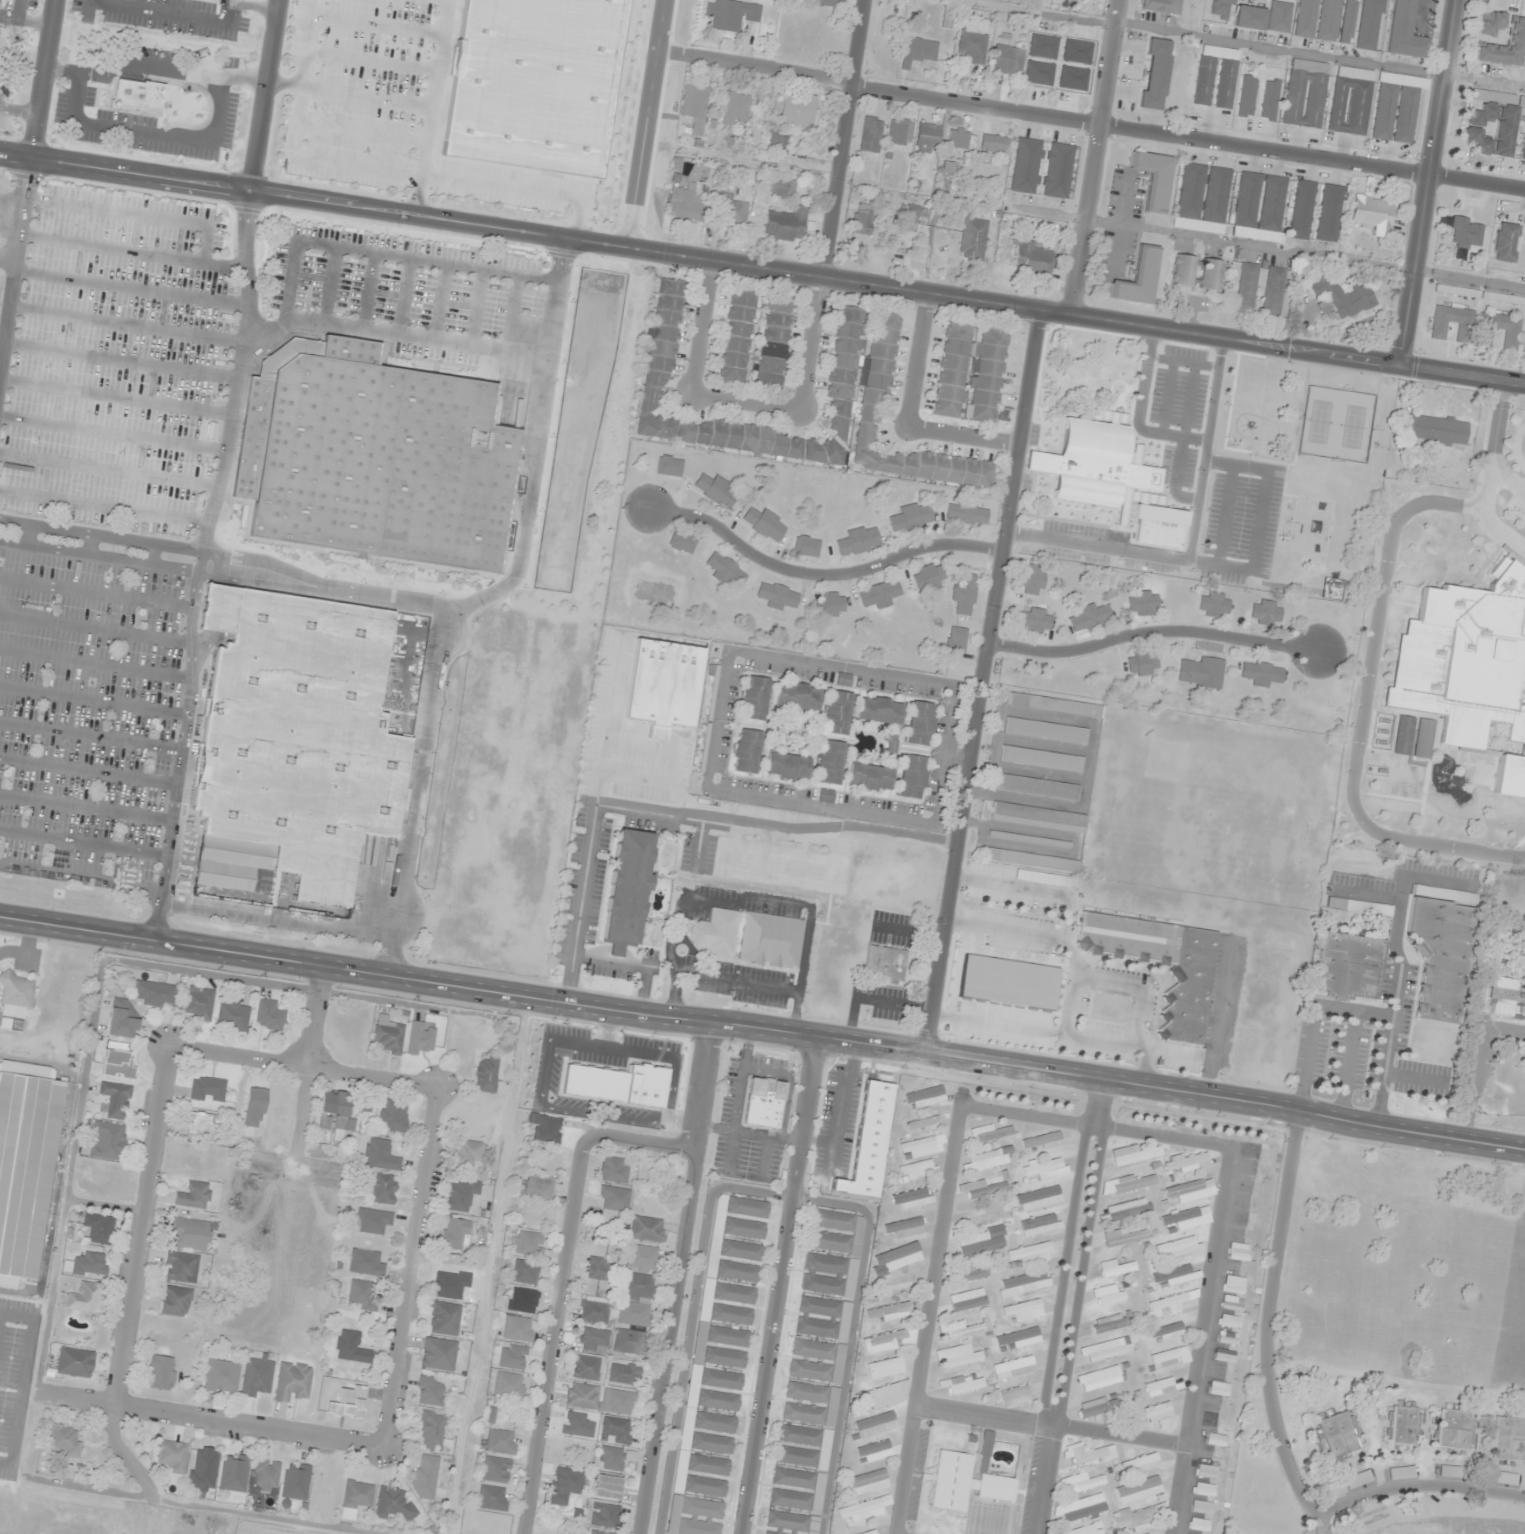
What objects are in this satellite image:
road: (227, 1)
building: (827, 3)
building: (1162, 6)
road: (5, 8)
building: (1222, 8)
road: (87, 9)
building: (730, 14)
road: (0, 16)
building: (949, 17)
building: (1280, 17)
road: (190, 18)
building: (1250, 18)
building: (1306, 18)
building: (1328, 20)
road: (26, 21)
building: (1491, 23)
road: (376, 24)
building: (1403, 31)
building: (1044, 46)
building: (974, 48)
building: (1506, 48)
building: (919, 51)
building: (1077, 51)
building: (1008, 56)
road: (370, 60)
building: (1039, 73)
building: (1155, 74)
building: (1216, 77)
road: (44, 78)
building: (1073, 79)
building: (532, 84)
building: (1305, 94)
road: (262, 95)
road: (346, 95)
building: (1247, 96)
building: (1270, 100)
building: (696, 101)
building: (1350, 106)
road: (429, 107)
building: (1396, 107)
building: (734, 109)
building: (797, 110)
road: (19, 111)
road: (1090, 118)
road: (645, 123)
building: (1474, 130)
building: (900, 132)
road: (359, 133)
building: (871, 135)
building: (928, 138)
building: (962, 139)
road: (292, 143)
building: (994, 144)
building: (782, 145)
building: (1523, 147)
road: (1098, 157)
building: (1026, 166)
building: (949, 169)
building: (1058, 171)
building: (1154, 179)
road: (1428, 182)
building: (778, 186)
road: (520, 188)
building: (1204, 199)
building: (1261, 203)
road: (836, 205)
building: (686, 206)
building: (1303, 210)
building: (731, 212)
building: (1330, 213)
road: (132, 214)
building: (1374, 214)
building: (911, 220)
building: (862, 224)
building: (786, 225)
building: (1465, 232)
building: (973, 240)
building: (1504, 243)
road: (131, 252)
road: (384, 254)
road: (15, 255)
building: (1034, 259)
road: (7, 261)
road: (762, 267)
building: (1183, 270)
building: (1139, 279)
road: (328, 285)
road: (130, 289)
building: (1247, 289)
road: (368, 291)
building: (1457, 292)
building: (1274, 293)
road: (404, 296)
building: (1340, 297)
building: (1504, 299)
road: (440, 302)
road: (476, 307)
road: (513, 313)
road: (125, 325)
road: (702, 325)
building: (1464, 331)
road: (393, 333)
building: (737, 337)
building: (1511, 338)
building: (775, 342)
building: (661, 350)
building: (1524, 353)
road: (917, 359)
road: (120, 360)
building: (971, 374)
road: (116, 396)
road: (747, 400)
building: (880, 405)
building: (1437, 430)
road: (113, 434)
road: (962, 438)
road: (534, 444)
building: (372, 456)
building: (1091, 464)
building: (669, 466)
road: (109, 470)
building: (716, 489)
road: (103, 507)
building: (967, 514)
building: (911, 517)
building: (763, 524)
road: (101, 535)
building: (858, 541)
building: (682, 542)
building: (806, 547)
road: (99, 556)
road: (199, 565)
building: (724, 570)
road: (818, 575)
building: (928, 576)
building: (1032, 579)
road: (323, 588)
road: (96, 594)
building: (880, 595)
building: (964, 595)
building: (777, 597)
building: (1143, 603)
building: (829, 604)
building: (1214, 604)
building: (1266, 613)
building: (1089, 618)
building: (1036, 621)
road: (94, 628)
road: (1155, 631)
building: (956, 640)
building: (1466, 660)
road: (95, 663)
building: (1142, 663)
building: (1200, 673)
building: (1261, 674)
building: (844, 680)
road: (983, 682)
building: (664, 686)
building: (797, 697)
building: (755, 698)
road: (93, 701)
building: (1055, 706)
building: (880, 711)
building: (837, 713)
building: (920, 723)
building: (1046, 731)
building: (1403, 735)
road: (91, 736)
building: (1423, 738)
building: (293, 741)
building: (747, 751)
building: (1042, 759)
building: (830, 762)
building: (787, 767)
road: (88, 770)
building: (912, 776)
building: (869, 777)
building: (1510, 777)
building: (1037, 788)
road: (417, 791)
building: (826, 796)
road: (85, 807)
building: (1039, 818)
building: (1029, 840)
road: (83, 843)
building: (1032, 861)
road: (80, 876)
building: (1046, 879)
building: (627, 890)
building: (717, 935)
building: (770, 940)
building: (1441, 950)
building: (885, 962)
building: (1349, 967)
building: (154, 994)
building: (1508, 998)
building: (15, 1001)
building: (1186, 1002)
building: (199, 1004)
building: (233, 1016)
building: (269, 1016)
road: (313, 1016)
building: (121, 1020)
road: (762, 1031)
building: (388, 1035)
building: (118, 1062)
road: (300, 1063)
building: (486, 1075)
building: (207, 1089)
building: (924, 1097)
building: (115, 1100)
building: (764, 1103)
building: (334, 1113)
building: (393, 1116)
building: (201, 1125)
building: (924, 1125)
building: (547, 1129)
building: (992, 1133)
building: (108, 1141)
building: (923, 1147)
building: (467, 1154)
building: (379, 1155)
building: (1134, 1155)
building: (26, 1159)
building: (986, 1160)
building: (1186, 1162)
road: (577, 1164)
building: (1043, 1168)
building: (917, 1169)
building: (614, 1170)
building: (1129, 1184)
building: (536, 1188)
building: (382, 1189)
building: (982, 1189)
building: (1191, 1190)
road: (761, 1192)
building: (193, 1195)
building: (460, 1195)
building: (912, 1198)
building: (614, 1199)
building: (1039, 1199)
road: (834, 1203)
building: (747, 1208)
building: (1129, 1210)
building: (984, 1218)
building: (1187, 1218)
building: (373, 1221)
road: (136, 1223)
building: (1040, 1225)
road: (1226, 1226)
building: (906, 1228)
building: (98, 1229)
building: (647, 1229)
building: (744, 1229)
building: (836, 1232)
building: (188, 1234)
building: (454, 1234)
building: (1124, 1237)
building: (982, 1242)
building: (529, 1244)
building: (1179, 1248)
building: (740, 1250)
building: (1029, 1251)
building: (1239, 1252)
road: (944, 1257)
building: (641, 1258)
building: (898, 1258)
building: (365, 1263)
building: (90, 1264)
building: (180, 1267)
road: (411, 1267)
building: (1116, 1268)
building: (598, 1269)
building: (737, 1271)
building: (524, 1272)
building: (971, 1274)
building: (829, 1275)
building: (1175, 1276)
road: (680, 1279)
building: (898, 1284)
building: (1024, 1284)
building: (1234, 1284)
road: (780, 1287)
building: (734, 1294)
building: (360, 1296)
building: (1107, 1296)
building: (86, 1298)
building: (967, 1300)
building: (175, 1301)
building: (635, 1301)
building: (1175, 1303)
building: (1232, 1304)
road: (1072, 1308)
building: (1024, 1311)
building: (594, 1312)
building: (891, 1312)
building: (731, 1315)
building: (443, 1318)
building: (823, 1318)
building: (1229, 1321)
building: (1109, 1323)
road: (1266, 1326)
building: (518, 1329)
building: (964, 1330)
building: (1167, 1333)
building: (727, 1337)
building: (593, 1339)
building: (1019, 1339)
building: (1227, 1339)
building: (630, 1341)
building: (889, 1341)
building: (351, 1347)
building: (817, 1350)
building: (1104, 1350)
building: (438, 1354)
road: (687, 1355)
building: (1225, 1355)
building: (512, 1356)
building: (724, 1358)
building: (958, 1358)
building: (1170, 1358)
building: (75, 1363)
building: (586, 1368)
building: (885, 1368)
building: (1014, 1368)
building: (810, 1370)
building: (161, 1373)
building: (624, 1374)
road: (849, 1375)
building: (220, 1377)
building: (256, 1377)
building: (721, 1379)
building: (1099, 1379)
building: (292, 1382)
building: (509, 1385)
building: (1159, 1387)
building: (1218, 1389)
building: (429, 1392)
building: (806, 1393)
building: (884, 1395)
building: (1013, 1397)
building: (600, 1399)
building: (718, 1401)
building: (1100, 1408)
building: (804, 1413)
building: (1155, 1413)
road: (539, 1417)
road: (206, 1419)
building: (714, 1422)
building: (875, 1425)
road: (1054, 1425)
building: (1404, 1426)
building: (615, 1430)
building: (1455, 1430)
building: (433, 1431)
building: (800, 1435)
building: (1336, 1435)
building: (1215, 1440)
building: (1508, 1440)
building: (64, 1441)
building: (500, 1442)
building: (711, 1444)
building: (985, 1450)
building: (874, 1452)
building: (1089, 1454)
building: (172, 1456)
building: (797, 1457)
building: (614, 1458)
building: (708, 1465)
building: (202, 1469)
building: (495, 1470)
building: (1206, 1472)
building: (1450, 1472)
building: (233, 1473)
building: (1401, 1473)
building: (265, 1475)
building: (425, 1477)
building: (798, 1479)
building: (1358, 1479)
building: (1504, 1479)
building: (567, 1481)
building: (295, 1482)
building: (868, 1482)
building: (965, 1484)
building: (1085, 1484)
road: (1415, 1484)
building: (704, 1486)
building: (608, 1488)
building: (1138, 1490)
road: (1184, 1490)
building: (1204, 1490)
building: (357, 1496)
building: (492, 1498)
building: (790, 1500)
building: (393, 1504)
building: (1202, 1508)
building: (1079, 1509)
building: (865, 1510)
building: (604, 1516)
building: (700, 1517)
building: (1133, 1517)
building: (787, 1522)
building: (1199, 1525)
building: (1088, 1529)
building: (596, 1532)
building: (870, 1532)
building: (770, 1533)

